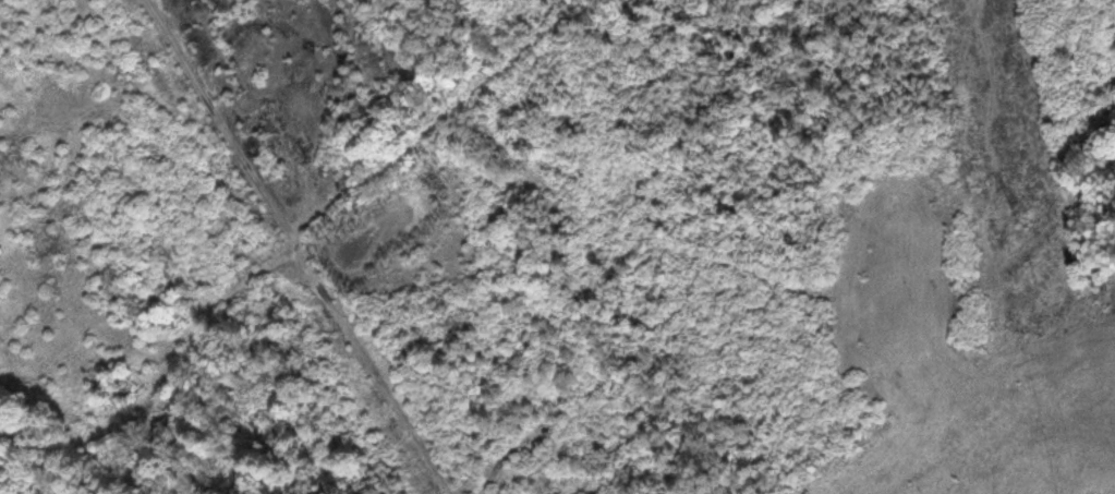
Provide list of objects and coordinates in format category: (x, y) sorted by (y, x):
road: (438, 112)
power tower: (1019, 225)

